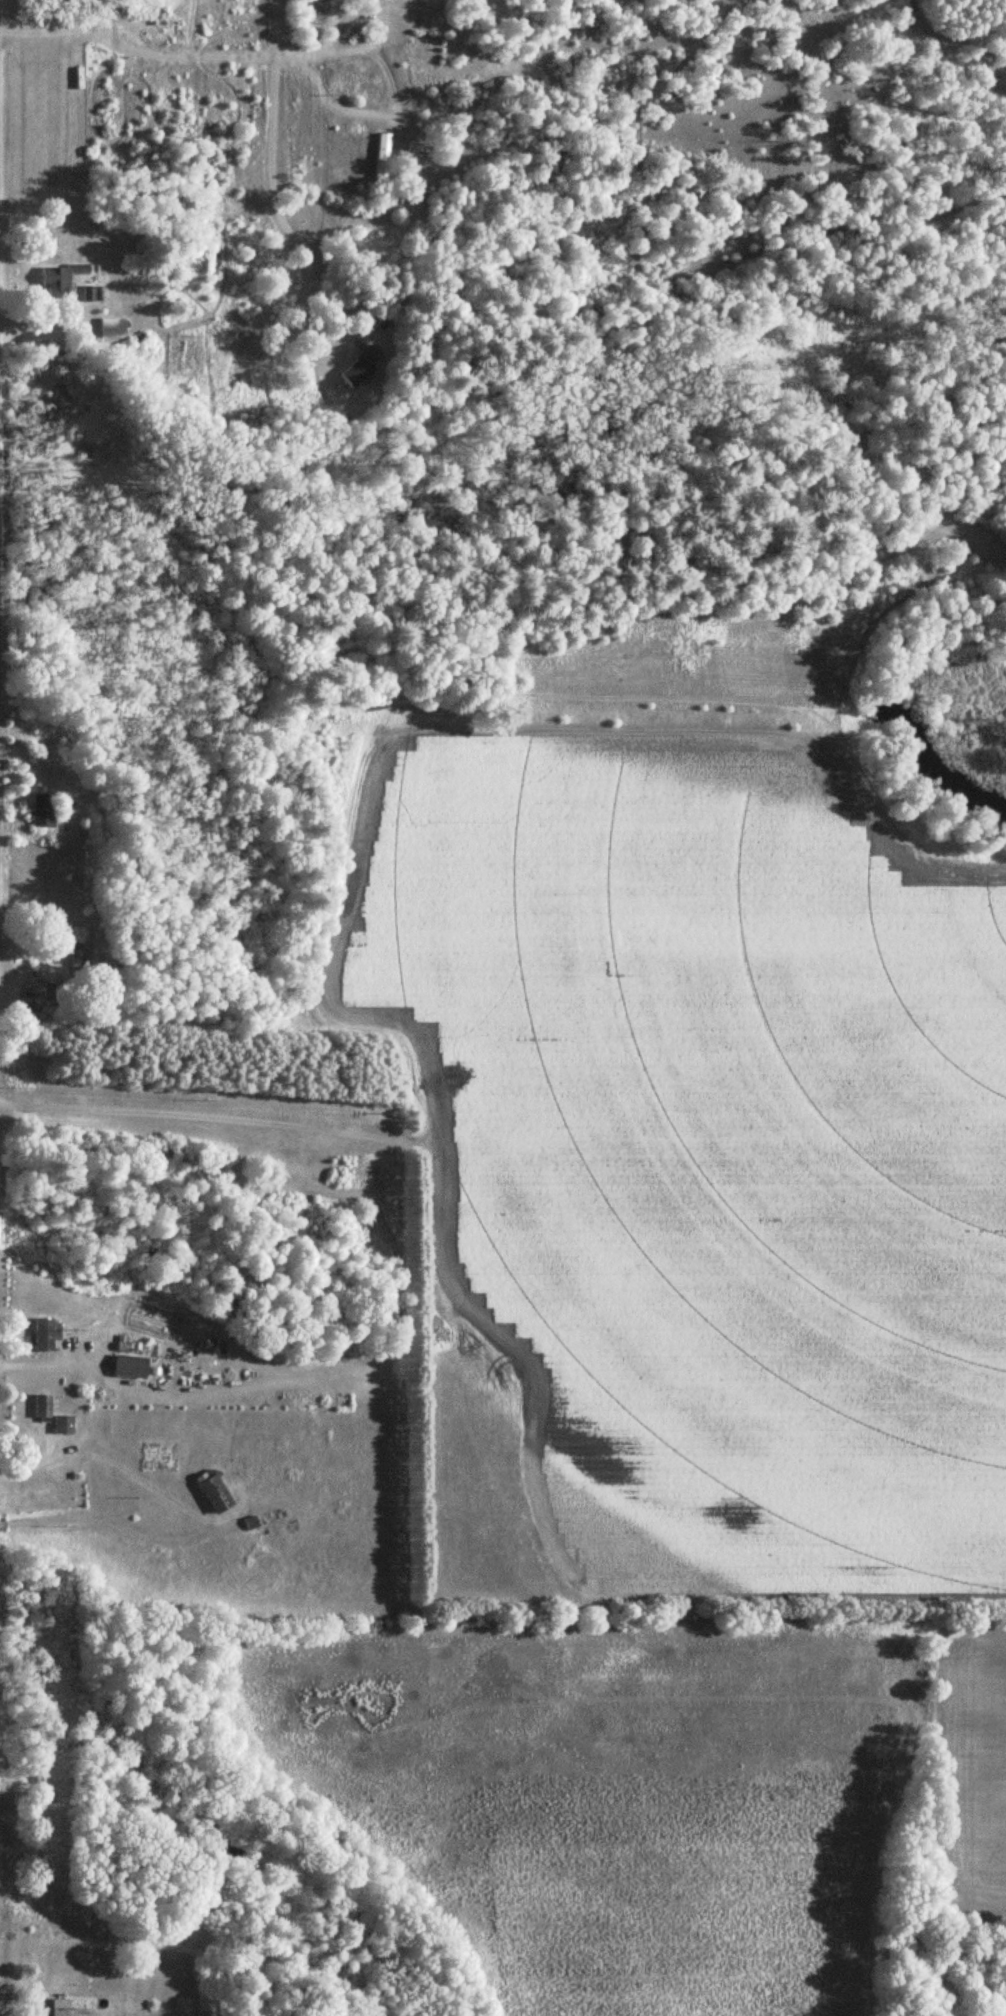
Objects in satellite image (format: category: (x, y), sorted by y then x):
road: (332, 26)
road: (151, 48)
building: (377, 157)
road: (267, 181)
road: (391, 209)
building: (55, 281)
building: (93, 294)
building: (108, 328)
building: (360, 367)
building: (38, 807)
building: (41, 1333)
road: (37, 1364)
building: (125, 1366)
building: (37, 1406)
building: (59, 1423)
road: (32, 1464)
building: (209, 1492)
building: (67, 2006)

